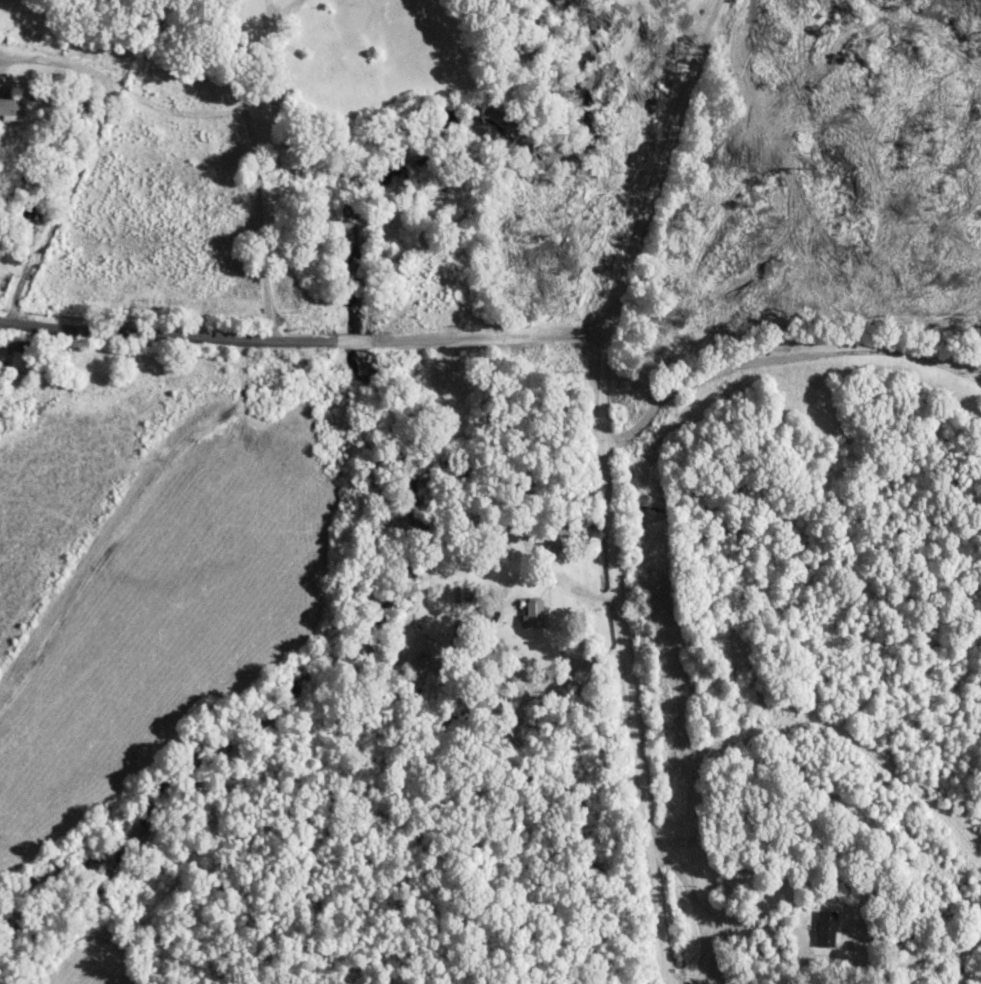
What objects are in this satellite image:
building: (7, 105)
road: (659, 164)
road: (227, 170)
road: (537, 331)
road: (236, 338)
building: (535, 612)
road: (629, 657)
building: (822, 931)

